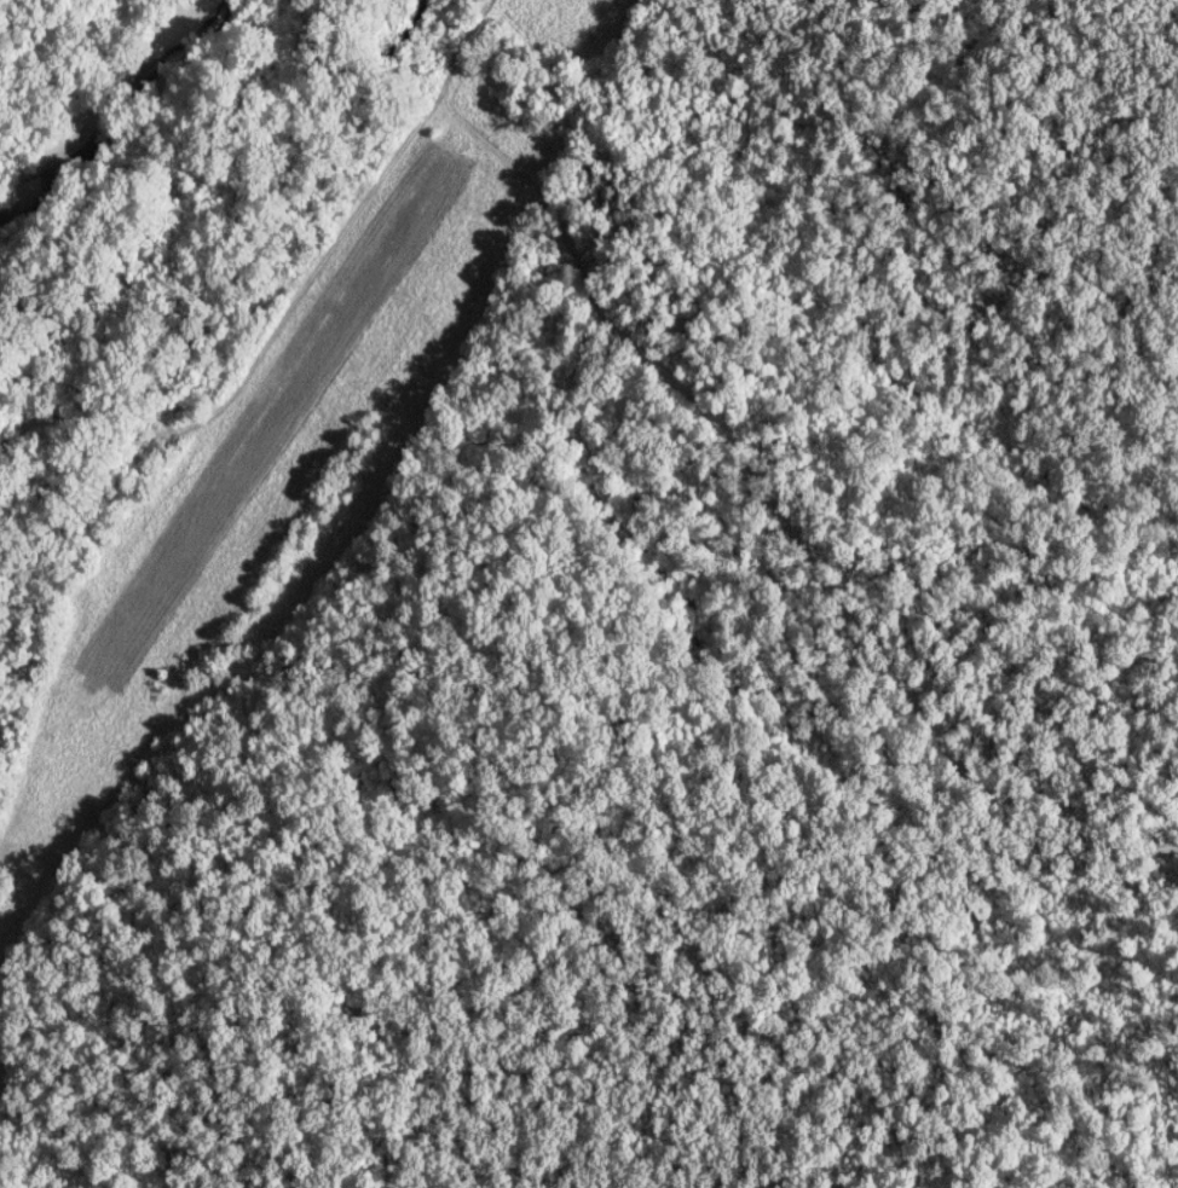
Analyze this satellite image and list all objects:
road: (268, 349)
road: (758, 481)

